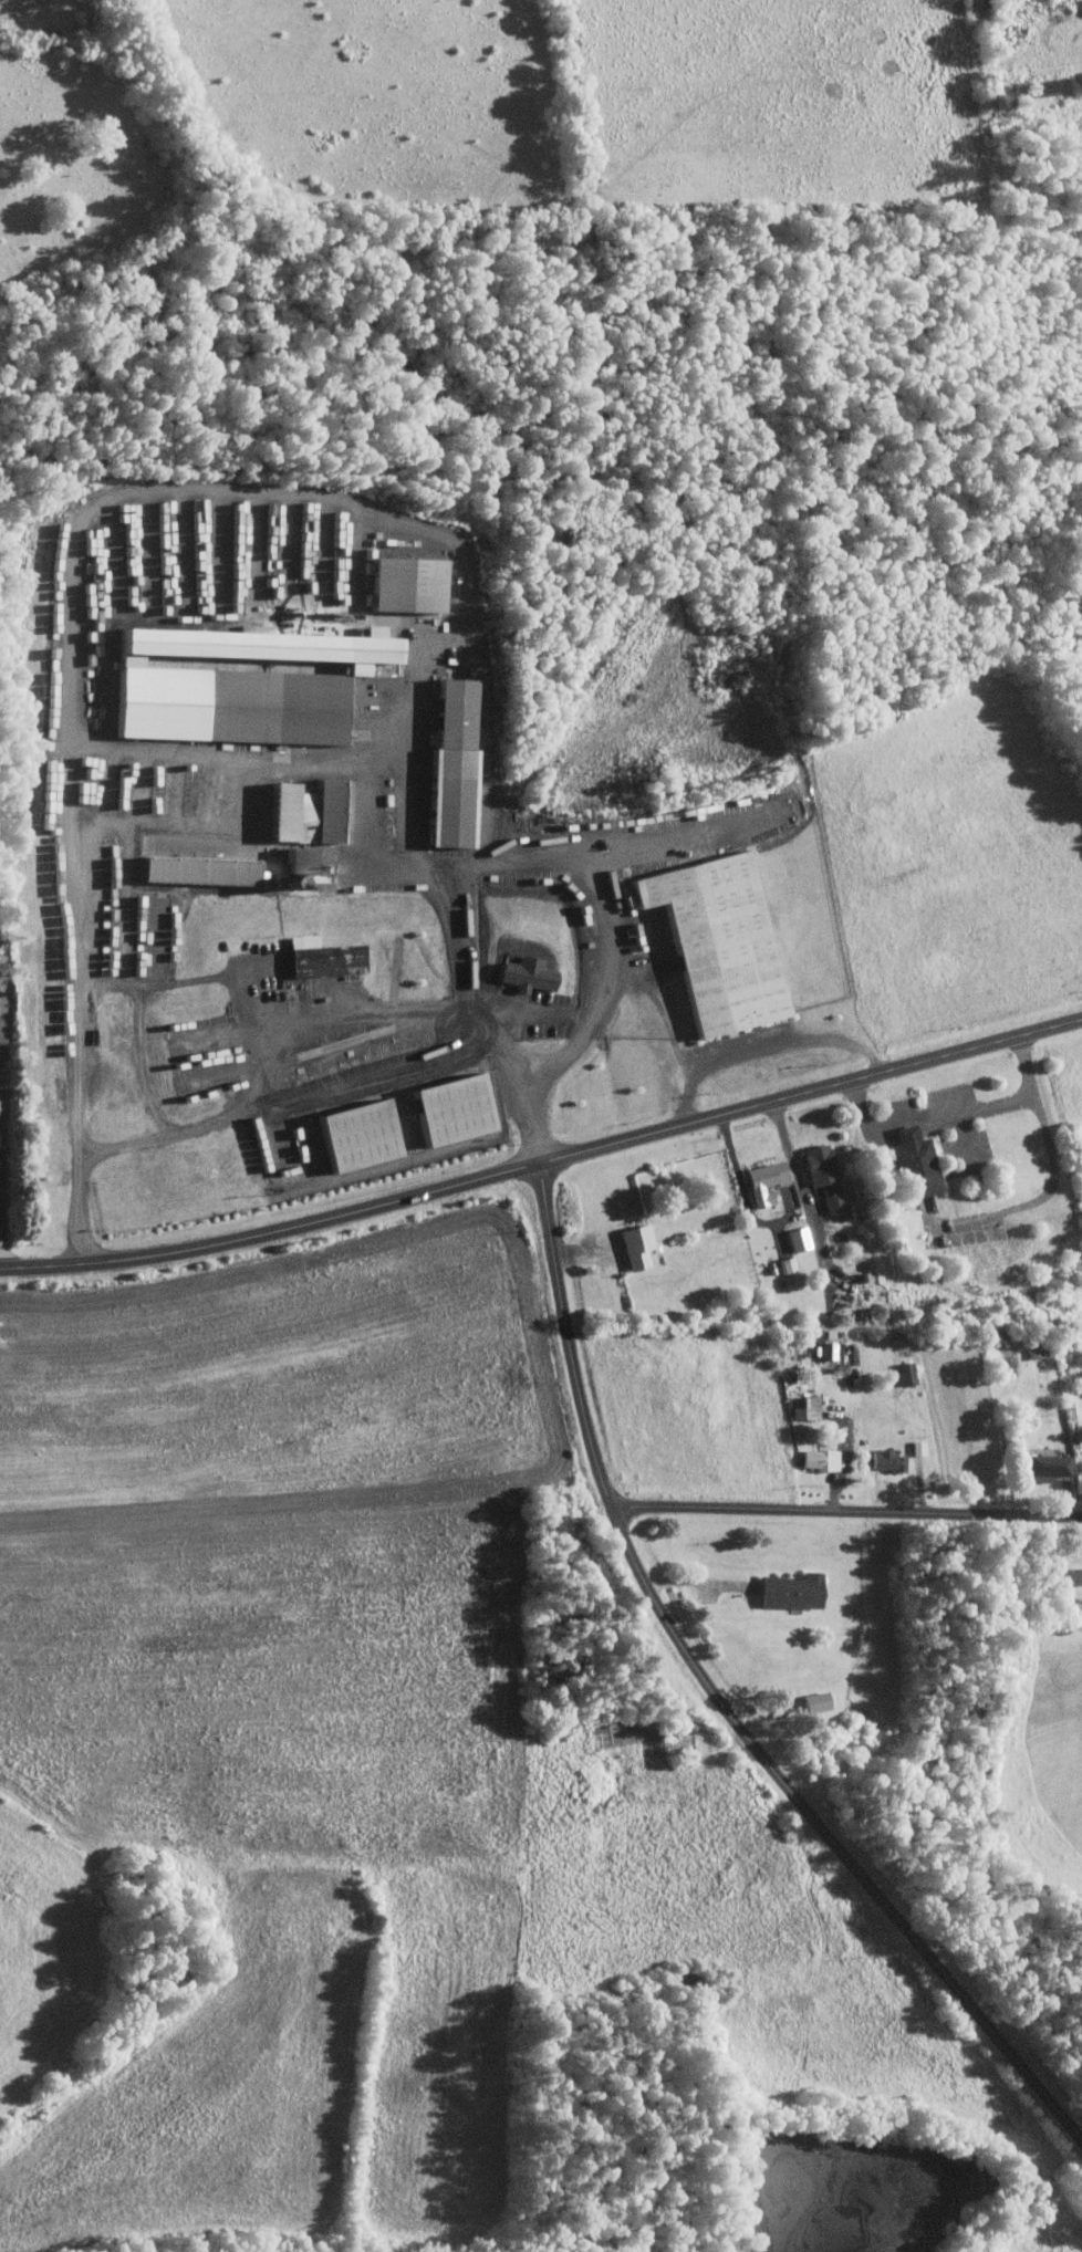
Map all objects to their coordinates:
building: (404, 582)
building: (236, 682)
building: (449, 763)
building: (302, 811)
road: (622, 847)
building: (295, 859)
building: (195, 868)
road: (458, 897)
building: (716, 940)
building: (321, 956)
building: (524, 973)
road: (608, 984)
road: (541, 1010)
road: (764, 1040)
road: (355, 1054)
building: (449, 1108)
road: (956, 1111)
parking lot: (949, 1123)
building: (354, 1134)
road: (111, 1147)
building: (917, 1161)
road: (544, 1164)
building: (828, 1174)
building: (770, 1180)
road: (1050, 1192)
road: (747, 1197)
road: (805, 1198)
building: (798, 1238)
building: (639, 1243)
building: (787, 1264)
building: (905, 1373)
building: (805, 1408)
building: (918, 1448)
building: (824, 1458)
building: (892, 1460)
building: (1053, 1464)
road: (846, 1513)
building: (1062, 1575)
building: (795, 1589)
road: (719, 1699)
building: (815, 1701)

